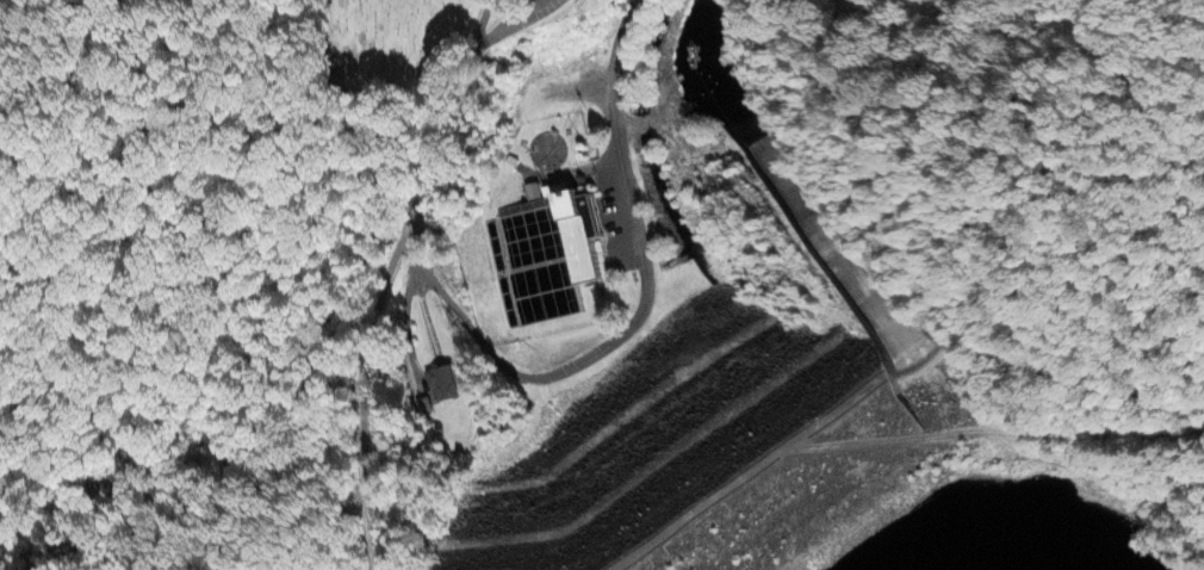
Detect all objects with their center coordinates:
park: (393, 44)
road: (621, 61)
building: (530, 191)
road: (633, 215)
building: (573, 230)
road: (433, 248)
dam: (781, 360)
road: (368, 380)
building: (440, 383)
dam: (788, 404)
dam: (727, 451)

